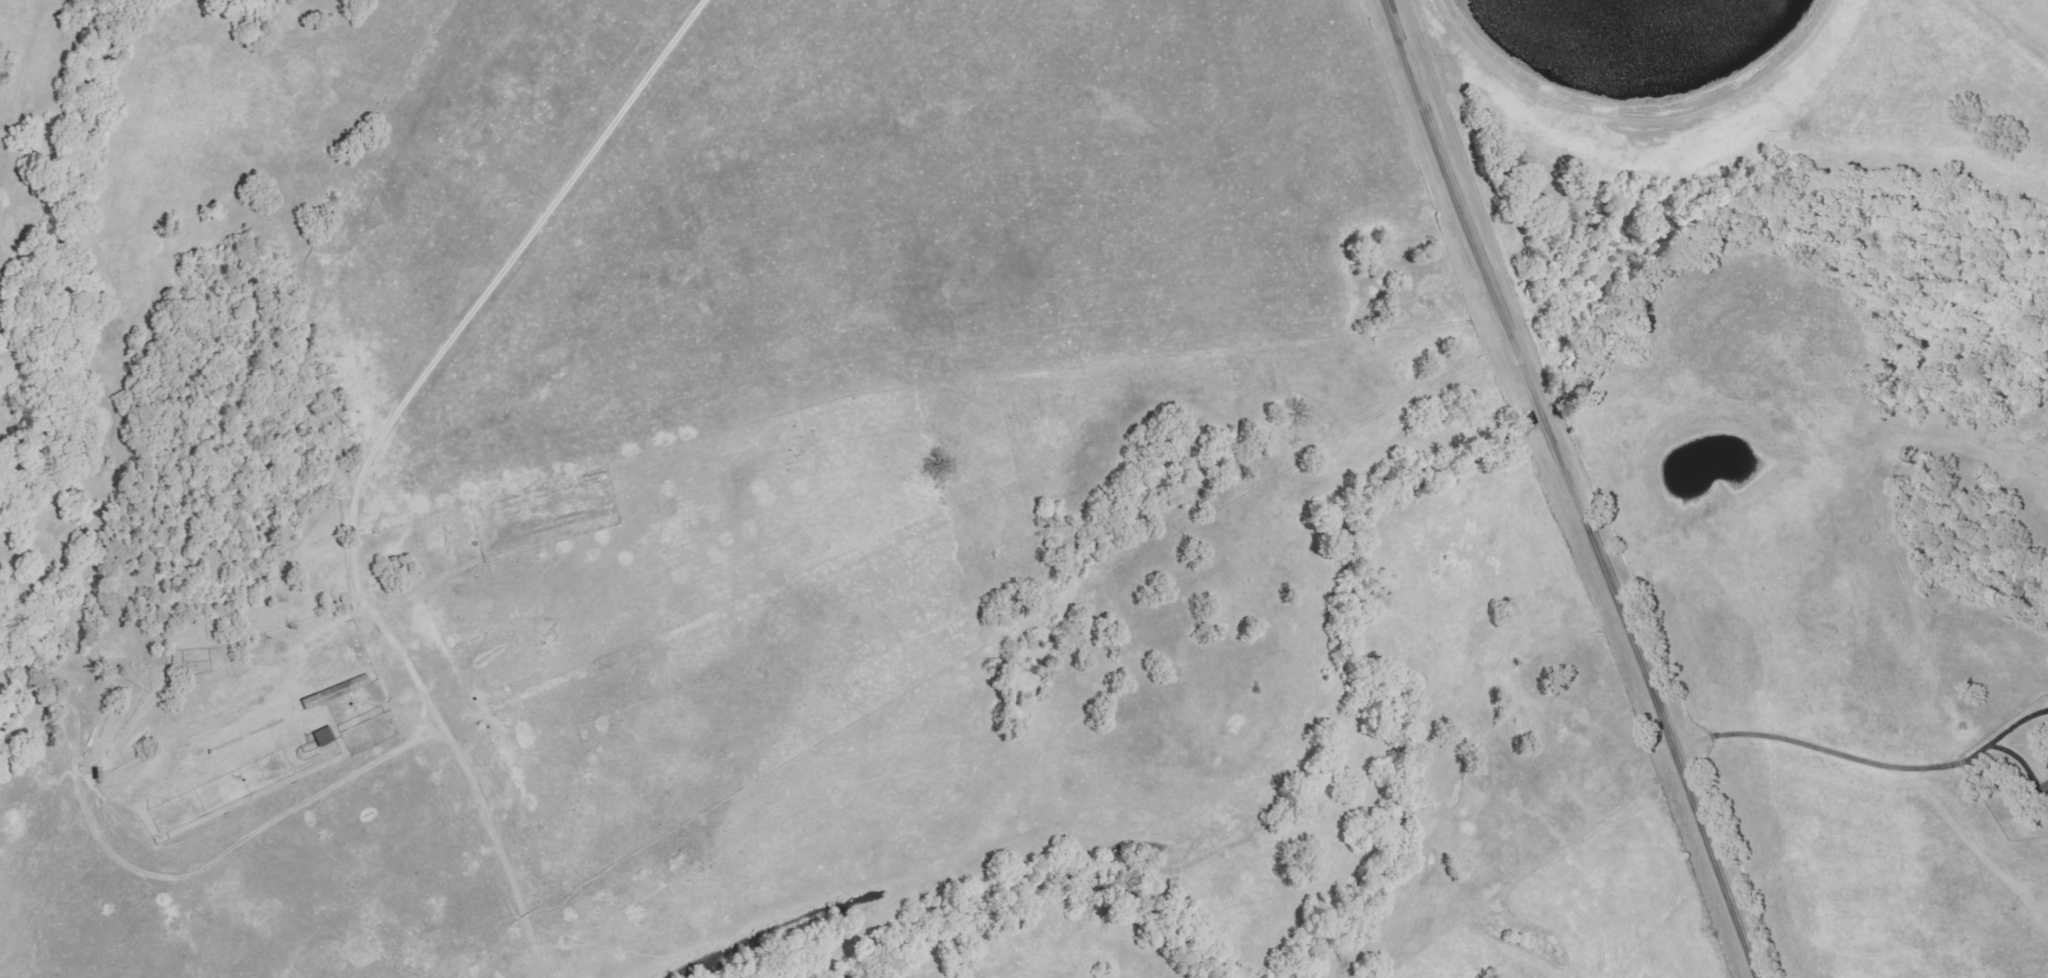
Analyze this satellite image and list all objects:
road: (1574, 488)
road: (1835, 753)

